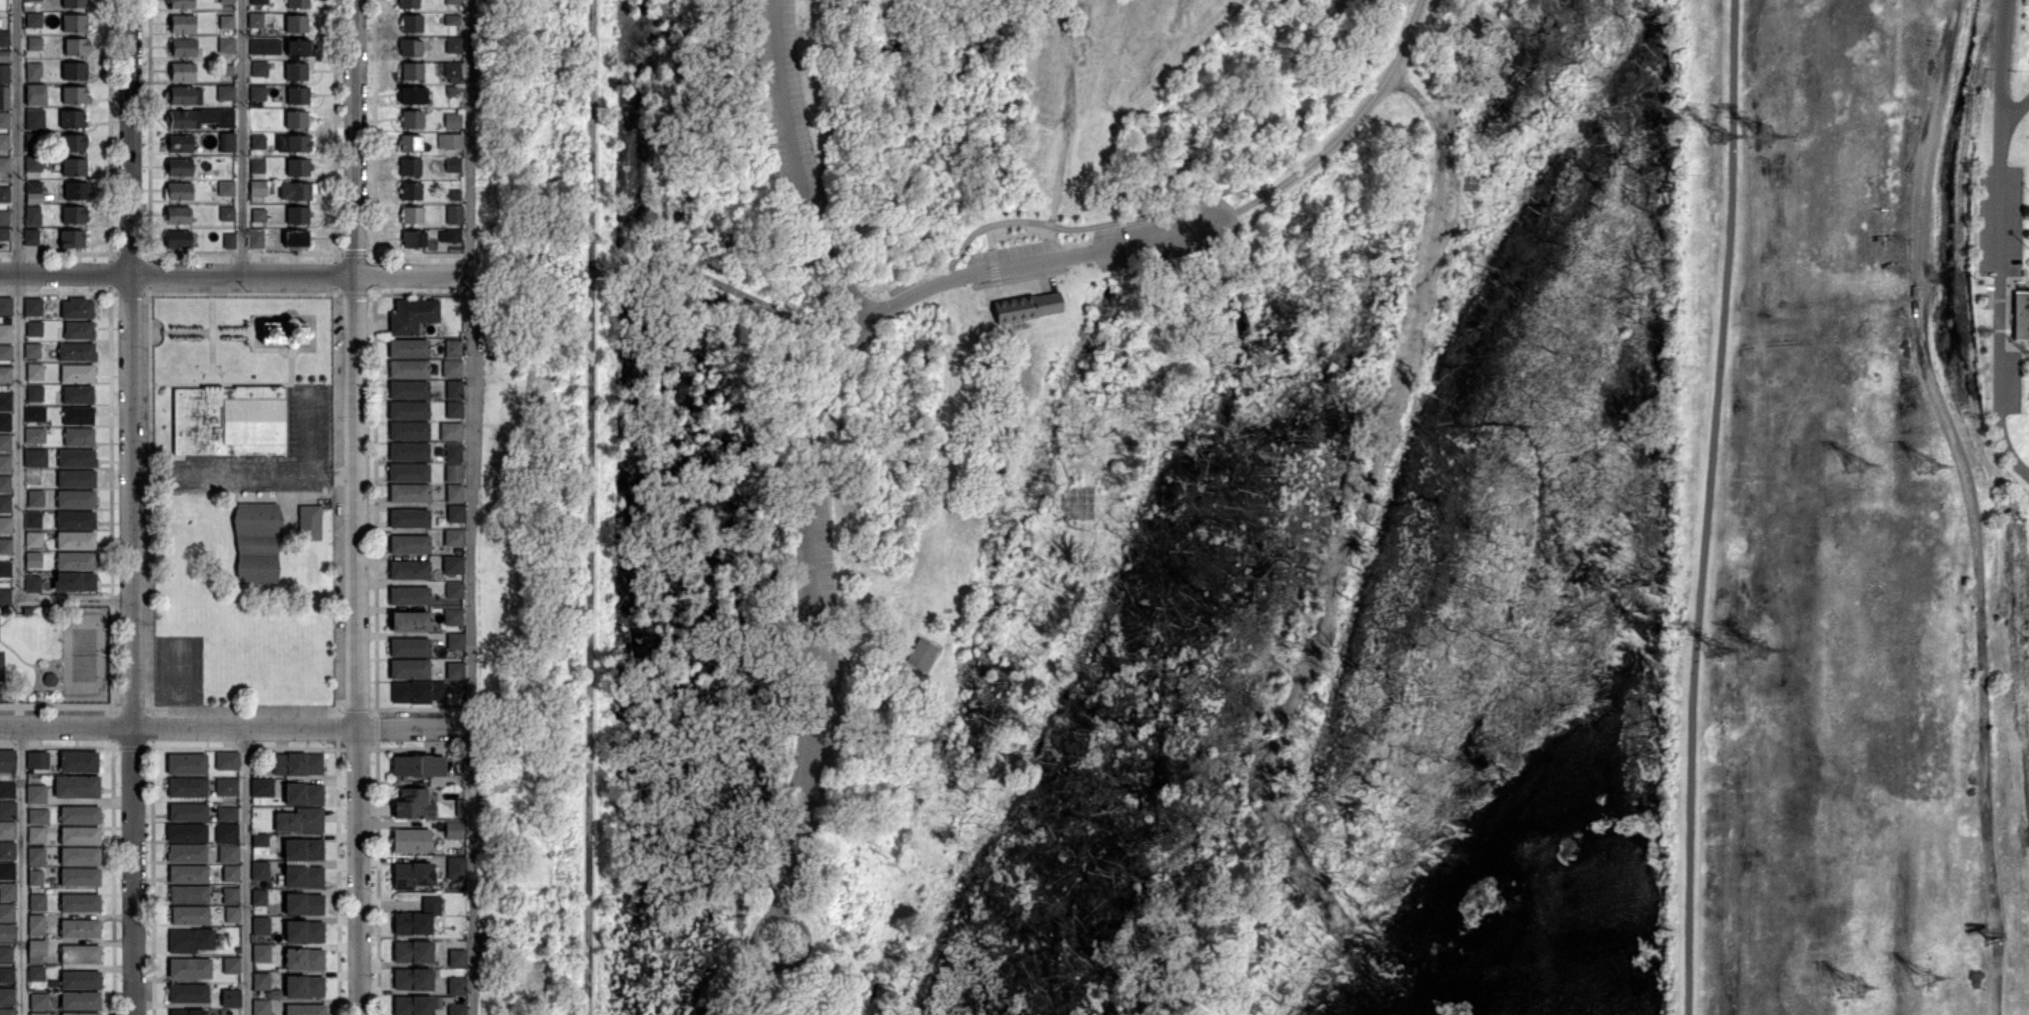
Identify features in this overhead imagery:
building: (33, 0)
building: (226, 1)
building: (258, 2)
building: (452, 2)
building: (407, 3)
building: (74, 4)
building: (181, 4)
building: (297, 4)
building: (34, 20)
building: (453, 20)
building: (226, 22)
building: (74, 23)
building: (182, 23)
building: (411, 23)
building: (295, 24)
building: (35, 43)
building: (225, 46)
building: (264, 46)
building: (76, 47)
building: (409, 47)
building: (184, 48)
building: (297, 48)
building: (4, 56)
building: (259, 69)
building: (225, 70)
building: (452, 70)
building: (34, 71)
building: (74, 71)
building: (182, 71)
building: (295, 71)
building: (411, 71)
building: (4, 74)
road: (2004, 81)
building: (452, 91)
building: (225, 93)
building: (257, 93)
building: (36, 95)
building: (75, 95)
building: (297, 95)
building: (413, 95)
building: (183, 96)
building: (4, 99)
parking lot: (785, 105)
road: (2014, 112)
building: (71, 118)
building: (224, 118)
building: (34, 119)
building: (182, 119)
building: (295, 119)
building: (411, 119)
building: (4, 120)
building: (452, 121)
road: (593, 134)
power tower: (1762, 134)
power tower: (1715, 135)
road: (243, 138)
building: (4, 141)
building: (33, 141)
building: (73, 142)
building: (449, 142)
building: (257, 143)
building: (409, 143)
building: (180, 144)
building: (300, 144)
building: (34, 164)
building: (4, 165)
building: (257, 165)
building: (453, 165)
building: (74, 167)
building: (178, 167)
building: (298, 167)
building: (409, 167)
road: (797, 167)
building: (33, 187)
building: (257, 188)
building: (226, 189)
building: (76, 191)
building: (178, 191)
building: (295, 191)
building: (410, 191)
building: (453, 195)
road: (1188, 203)
building: (450, 212)
building: (226, 214)
building: (74, 215)
building: (177, 215)
building: (258, 215)
building: (297, 215)
building: (411, 215)
building: (33, 216)
building: (4, 218)
parking lot: (1999, 219)
building: (4, 234)
parking lot: (1164, 235)
building: (449, 236)
building: (30, 237)
building: (71, 238)
building: (255, 238)
building: (177, 239)
building: (295, 239)
building: (412, 239)
building: (229, 241)
parking lot: (1014, 254)
road: (1051, 257)
road: (235, 275)
road: (1999, 286)
road: (726, 288)
road: (19, 300)
road: (866, 305)
building: (5, 306)
building: (1026, 307)
building: (33, 308)
building: (76, 309)
building: (2022, 312)
building: (412, 316)
building: (35, 329)
building: (285, 329)
building: (79, 331)
building: (6, 333)
building: (407, 349)
building: (452, 350)
building: (33, 351)
building: (5, 353)
building: (76, 353)
building: (408, 369)
building: (452, 369)
building: (34, 372)
building: (77, 373)
building: (5, 376)
parking lot: (2011, 379)
building: (407, 389)
building: (453, 391)
building: (35, 394)
building: (78, 395)
building: (5, 402)
building: (407, 410)
building: (453, 410)
building: (35, 415)
building: (78, 416)
parking lot: (308, 420)
building: (228, 421)
building: (5, 423)
road: (310, 429)
building: (408, 430)
building: (450, 432)
building: (35, 436)
building: (78, 437)
building: (5, 443)
road: (2006, 445)
building: (408, 451)
building: (453, 453)
building: (35, 459)
building: (77, 459)
building: (5, 464)
power tower: (1858, 464)
power tower: (1925, 466)
building: (407, 472)
building: (453, 473)
building: (33, 474)
road: (245, 475)
building: (76, 479)
building: (5, 485)
building: (408, 493)
building: (454, 493)
building: (35, 499)
building: (76, 500)
road: (1975, 501)
building: (5, 505)
road: (130, 507)
road: (361, 507)
road: (473, 507)
road: (1705, 507)
building: (455, 514)
building: (408, 518)
building: (75, 520)
building: (33, 521)
building: (309, 522)
building: (6, 526)
building: (453, 538)
building: (33, 540)
building: (76, 542)
building: (256, 542)
building: (408, 544)
building: (5, 547)
parking lot: (814, 547)
building: (33, 560)
building: (75, 562)
building: (452, 566)
building: (5, 570)
building: (408, 570)
building: (74, 582)
building: (32, 585)
building: (454, 591)
building: (408, 596)
building: (5, 597)
road: (75, 600)
road: (817, 609)
building: (27, 611)
building: (49, 614)
building: (452, 617)
building: (408, 621)
building: (455, 642)
road: (593, 642)
building: (408, 647)
power tower: (1757, 649)
power tower: (1715, 650)
park: (83, 654)
building: (921, 654)
building: (408, 669)
building: (454, 671)
building: (416, 691)
road: (236, 727)
building: (7, 760)
building: (226, 760)
building: (37, 761)
building: (78, 761)
building: (297, 764)
building: (186, 765)
parking lot: (810, 765)
building: (417, 766)
building: (76, 787)
building: (225, 787)
building: (187, 788)
building: (261, 788)
building: (7, 790)
building: (303, 794)
building: (36, 795)
building: (447, 797)
building: (412, 804)
building: (460, 808)
building: (7, 810)
building: (187, 813)
building: (225, 814)
building: (79, 816)
building: (38, 817)
building: (299, 820)
building: (7, 830)
building: (453, 830)
building: (225, 832)
building: (186, 834)
building: (35, 836)
building: (79, 837)
building: (263, 840)
building: (410, 840)
building: (302, 849)
building: (7, 851)
building: (227, 853)
building: (186, 854)
building: (35, 856)
building: (79, 857)
building: (456, 867)
road: (20, 870)
building: (258, 870)
building: (7, 871)
road: (246, 871)
building: (230, 873)
building: (187, 875)
building: (411, 875)
building: (80, 877)
building: (302, 877)
building: (36, 878)
building: (7, 891)
building: (47, 891)
building: (188, 895)
building: (229, 895)
building: (258, 897)
building: (36, 902)
building: (79, 903)
building: (303, 904)
building: (235, 908)
building: (6, 915)
building: (189, 916)
building: (416, 918)
building: (36, 926)
building: (260, 926)
building: (79, 929)
building: (303, 931)
building: (7, 933)
building: (189, 940)
building: (237, 949)
building: (37, 951)
building: (260, 952)
building: (412, 952)
building: (79, 954)
building: (6, 955)
building: (456, 958)
building: (303, 959)
road: (783, 964)
building: (230, 965)
building: (189, 968)
road: (830, 972)
building: (35, 973)
building: (6, 975)
building: (411, 976)
power tower: (1927, 978)
building: (80, 981)
building: (260, 981)
building: (303, 986)
building: (456, 987)
power tower: (1852, 988)
building: (188, 994)
building: (7, 996)
building: (229, 998)
building: (80, 1001)
building: (38, 1002)
building: (412, 1005)
building: (260, 1007)
building: (304, 1009)
building: (457, 1009)
building: (7, 1012)
building: (187, 1012)
building: (38, 1013)
building: (80, 1013)

